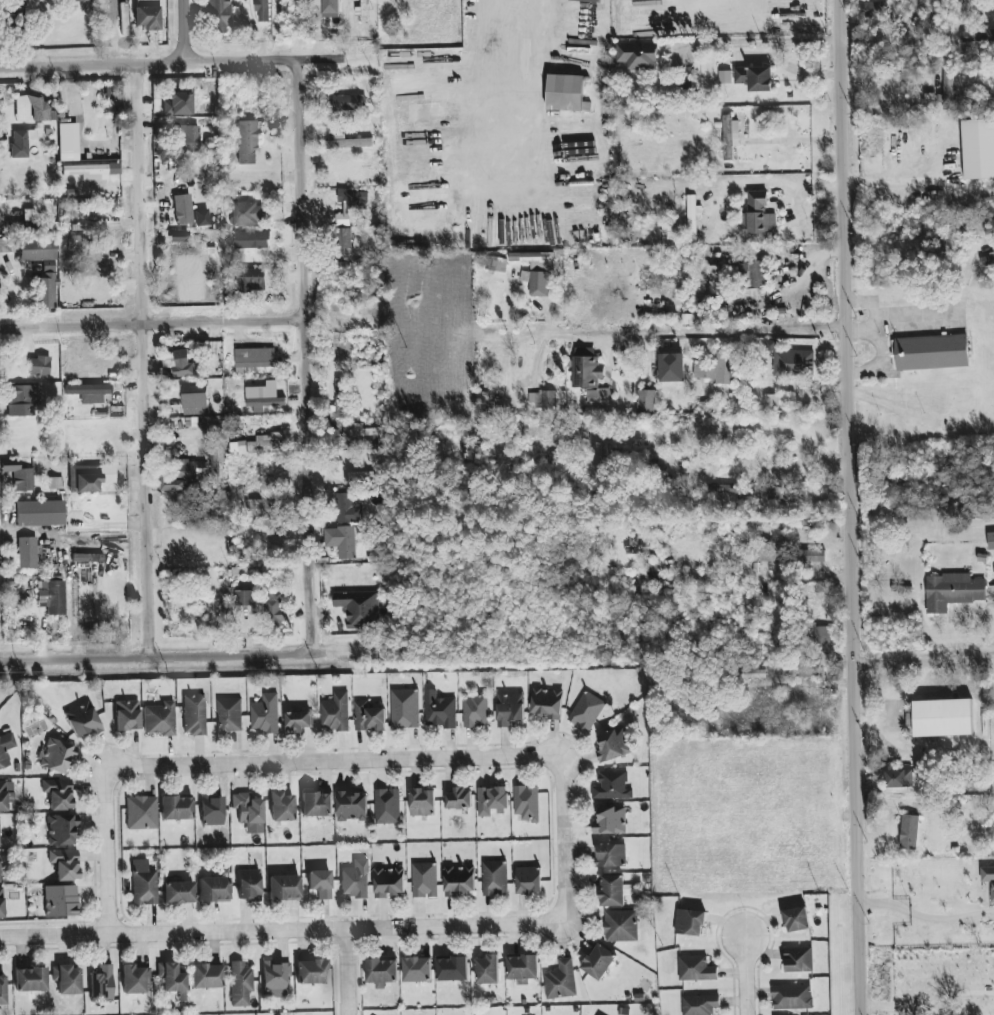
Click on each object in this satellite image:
building: (82, 0)
road: (718, 4)
building: (332, 6)
building: (14, 9)
building: (872, 9)
building: (263, 10)
building: (146, 14)
building: (223, 15)
road: (184, 29)
road: (761, 40)
building: (638, 55)
road: (336, 58)
road: (177, 59)
building: (725, 77)
building: (755, 78)
building: (948, 89)
road: (531, 90)
building: (929, 99)
building: (178, 102)
building: (346, 103)
building: (34, 109)
road: (339, 109)
building: (730, 136)
building: (186, 138)
building: (68, 142)
building: (247, 142)
building: (19, 143)
building: (350, 143)
building: (978, 149)
building: (871, 151)
building: (92, 171)
building: (183, 209)
building: (247, 214)
building: (29, 215)
building: (759, 215)
building: (693, 216)
building: (86, 227)
building: (344, 238)
building: (252, 240)
building: (77, 242)
building: (6, 245)
building: (180, 248)
building: (39, 252)
building: (92, 254)
building: (535, 260)
building: (987, 260)
building: (496, 264)
building: (756, 273)
building: (253, 279)
building: (537, 283)
building: (46, 291)
building: (751, 294)
building: (691, 319)
road: (154, 322)
road: (695, 330)
building: (932, 352)
road: (148, 357)
building: (255, 358)
building: (184, 363)
building: (794, 363)
building: (39, 366)
building: (586, 368)
building: (717, 369)
road: (309, 390)
building: (89, 392)
building: (599, 394)
building: (264, 395)
building: (340, 398)
building: (23, 399)
building: (196, 400)
building: (543, 400)
building: (646, 401)
building: (771, 401)
road: (759, 429)
building: (359, 438)
building: (263, 444)
building: (182, 476)
building: (16, 478)
building: (360, 478)
building: (84, 479)
building: (259, 507)
road: (855, 507)
building: (349, 508)
building: (40, 513)
building: (342, 541)
building: (991, 541)
building: (766, 552)
building: (26, 553)
building: (813, 556)
building: (92, 557)
building: (653, 576)
road: (754, 577)
building: (952, 591)
building: (51, 596)
building: (247, 600)
building: (359, 608)
building: (276, 609)
building: (823, 637)
road: (146, 655)
road: (926, 661)
building: (547, 703)
building: (405, 709)
building: (510, 709)
building: (439, 710)
building: (475, 711)
building: (587, 711)
building: (336, 713)
building: (194, 714)
building: (265, 714)
building: (127, 715)
building: (229, 715)
building: (369, 717)
building: (943, 718)
building: (159, 719)
building: (83, 720)
building: (298, 721)
building: (613, 745)
building: (6, 749)
building: (56, 756)
road: (252, 763)
building: (899, 778)
building: (612, 786)
building: (58, 794)
building: (6, 795)
building: (459, 799)
building: (492, 800)
building: (423, 802)
building: (527, 803)
building: (317, 804)
building: (352, 806)
building: (387, 806)
building: (281, 807)
building: (176, 808)
building: (247, 808)
building: (212, 810)
building: (141, 813)
building: (611, 821)
building: (61, 830)
building: (909, 832)
road: (562, 837)
building: (611, 856)
building: (65, 864)
building: (988, 877)
building: (495, 878)
building: (355, 879)
building: (425, 880)
building: (529, 880)
building: (460, 881)
building: (389, 882)
building: (320, 883)
building: (249, 884)
building: (144, 887)
building: (284, 888)
building: (213, 890)
building: (612, 891)
building: (179, 893)
building: (61, 901)
building: (1, 903)
road: (928, 918)
building: (797, 920)
building: (690, 923)
building: (621, 926)
road: (284, 931)
building: (799, 959)
building: (599, 962)
building: (417, 969)
building: (453, 969)
building: (696, 969)
building: (488, 970)
building: (382, 971)
building: (311, 972)
road: (345, 972)
building: (206, 976)
road: (745, 976)
building: (171, 977)
building: (276, 977)
building: (67, 979)
building: (134, 979)
building: (30, 980)
building: (561, 981)
building: (240, 984)
building: (102, 985)
building: (2, 990)
building: (792, 997)
road: (930, 1004)
building: (700, 1005)

